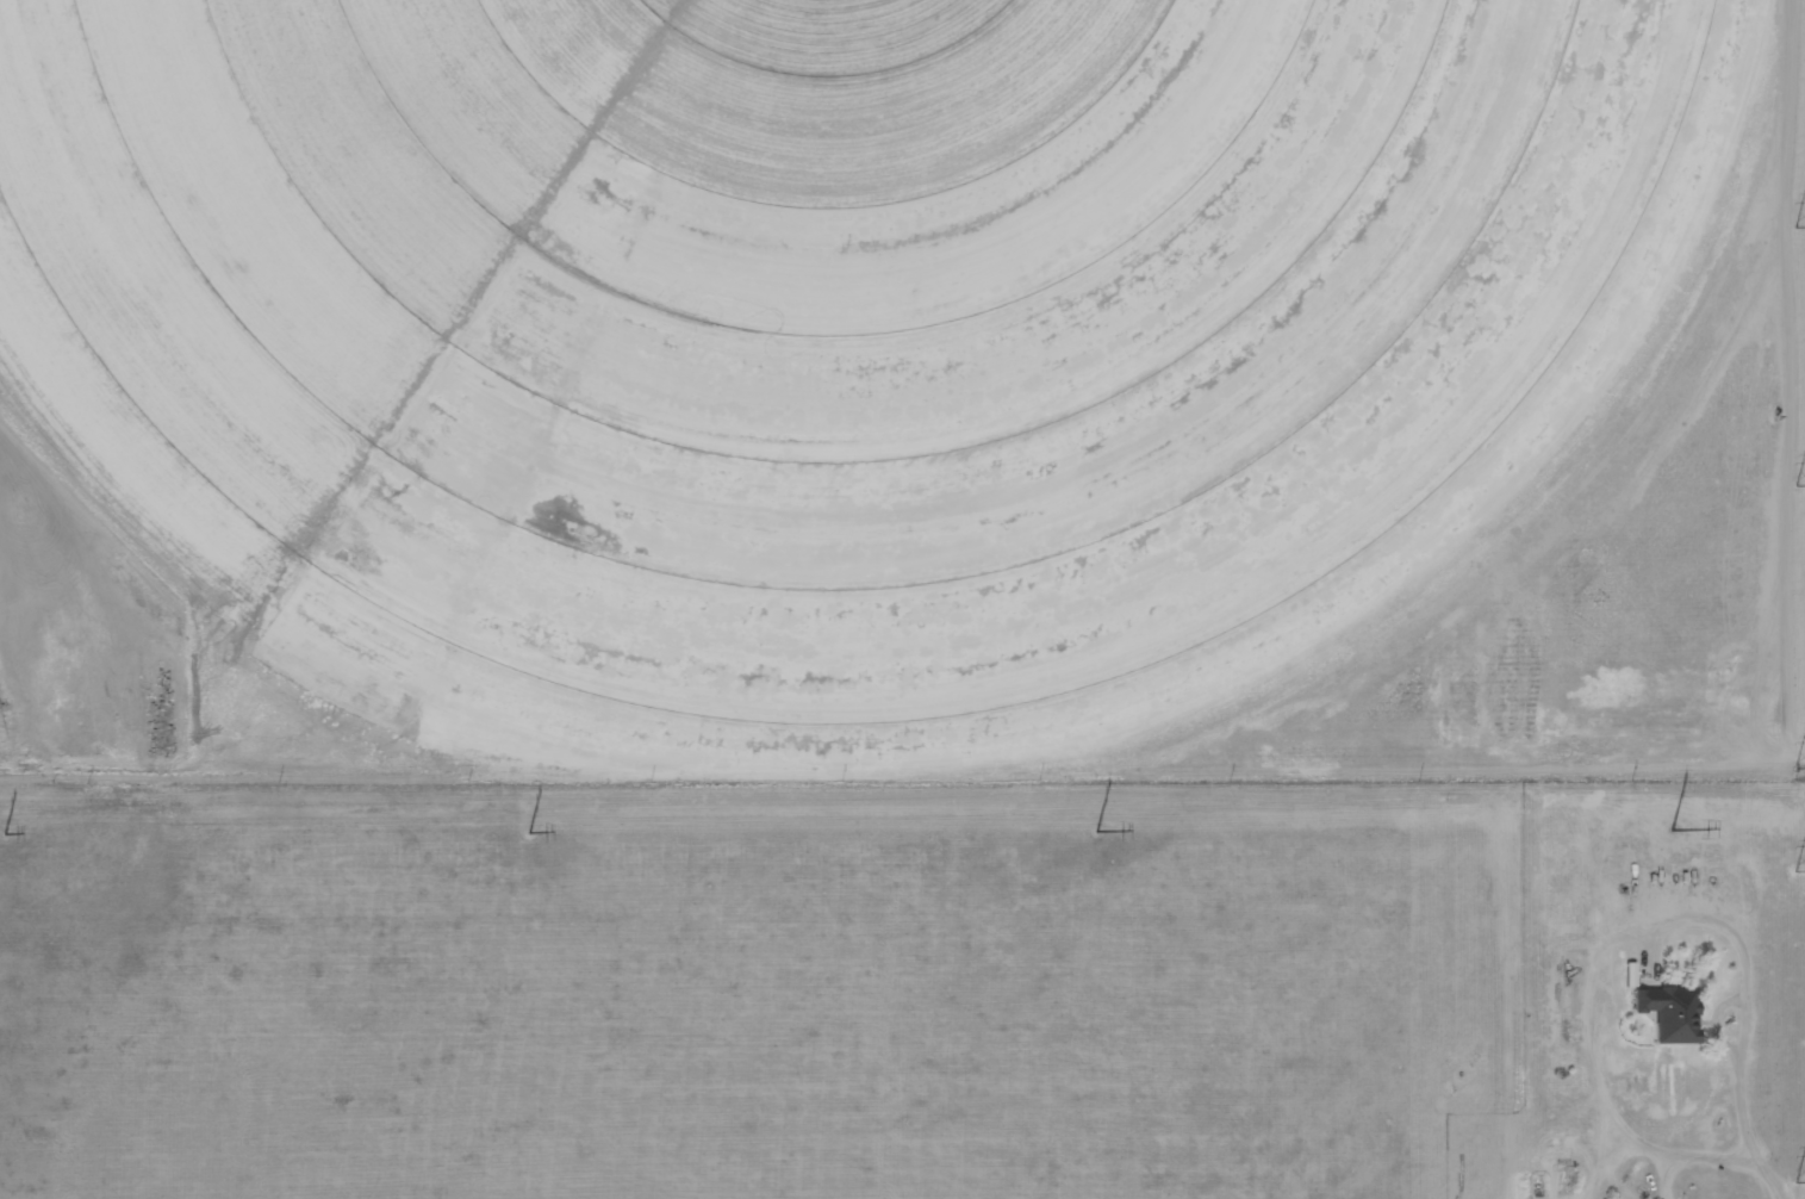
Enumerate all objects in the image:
power tower: (1798, 225)
power tower: (1799, 585)
road: (902, 815)
power tower: (1673, 828)
power tower: (1096, 830)
power tower: (528, 831)
power tower: (4, 832)
power tower: (1798, 943)
building: (1669, 1012)

